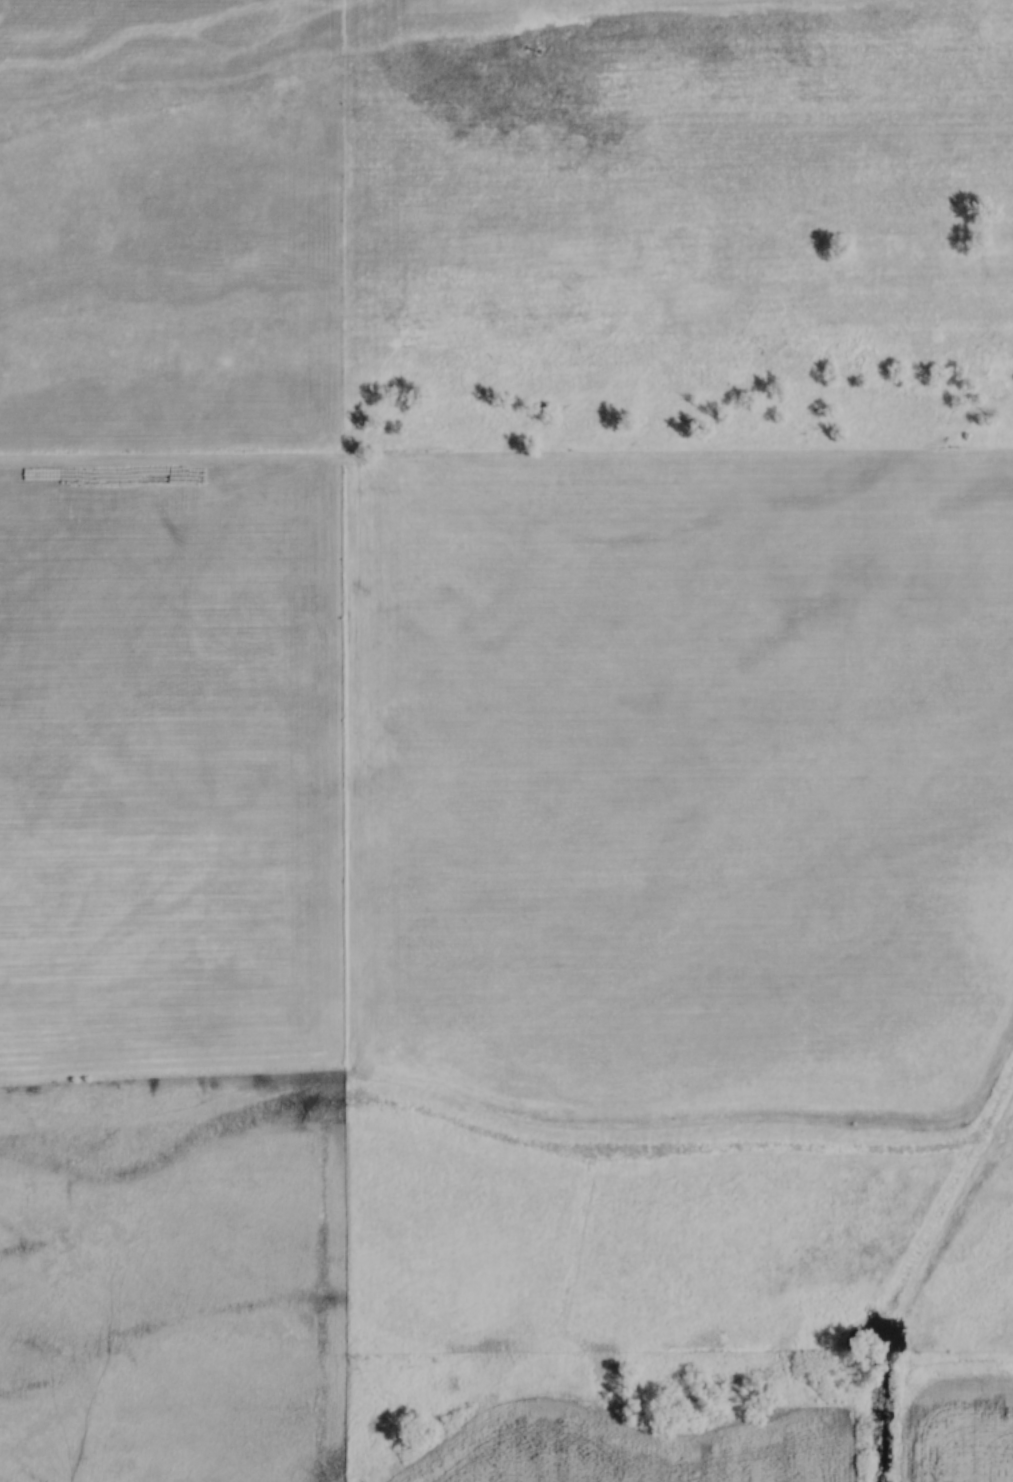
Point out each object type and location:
river: (908, 1267)

